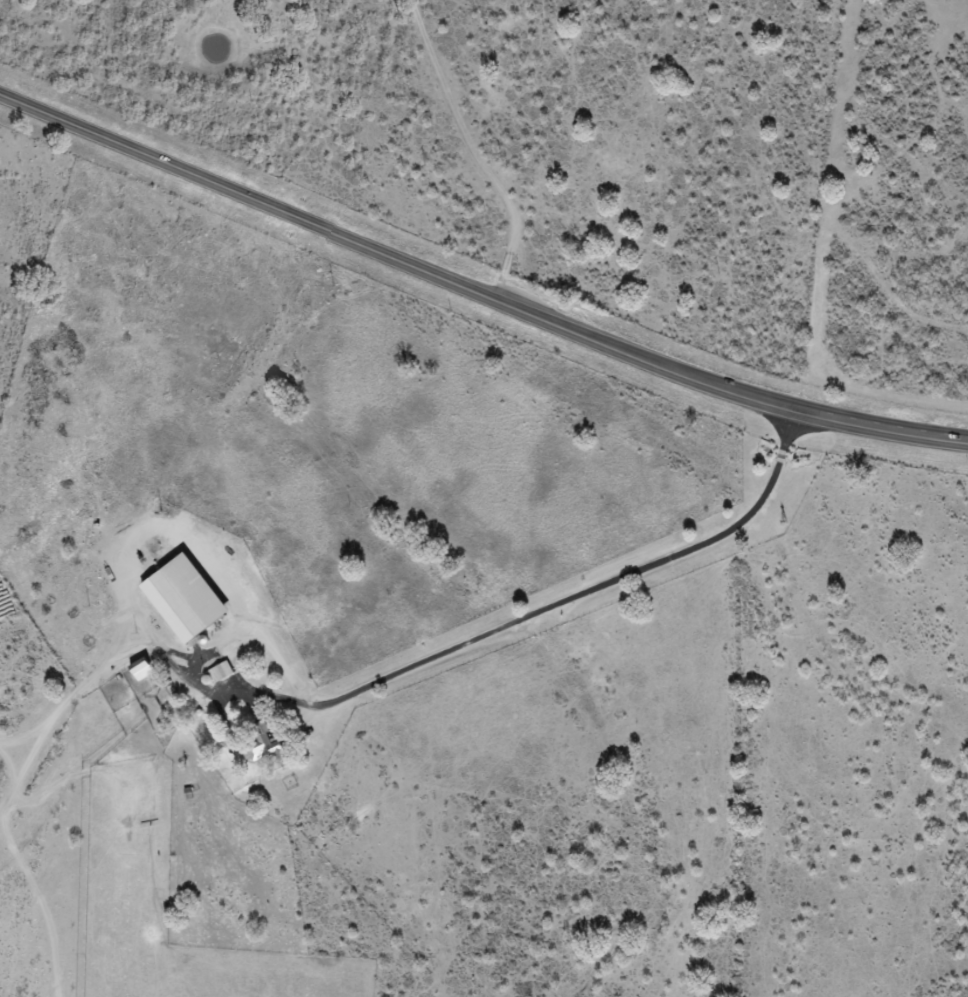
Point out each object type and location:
road: (475, 149)
road: (478, 289)
building: (184, 598)
road: (521, 618)
building: (140, 669)
building: (220, 672)
building: (261, 743)

